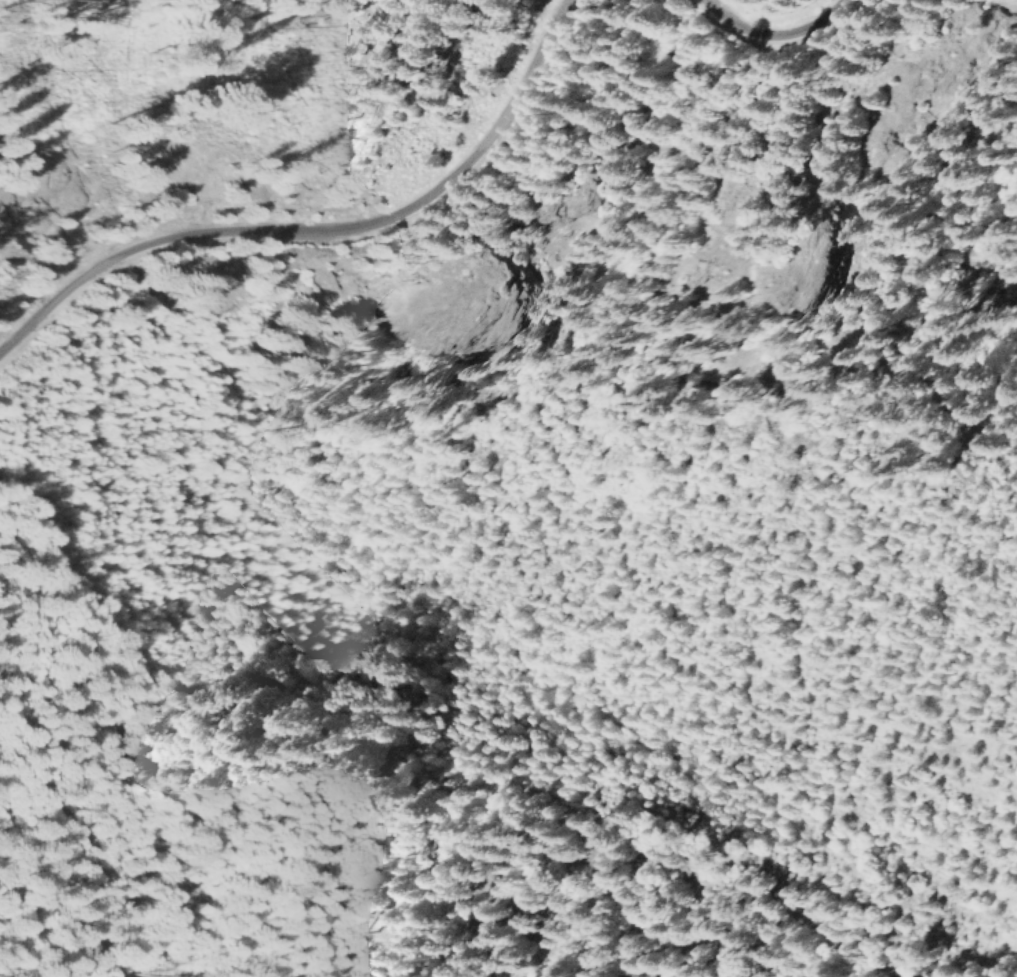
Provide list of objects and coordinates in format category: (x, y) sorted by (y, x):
road: (785, 30)
road: (314, 224)

